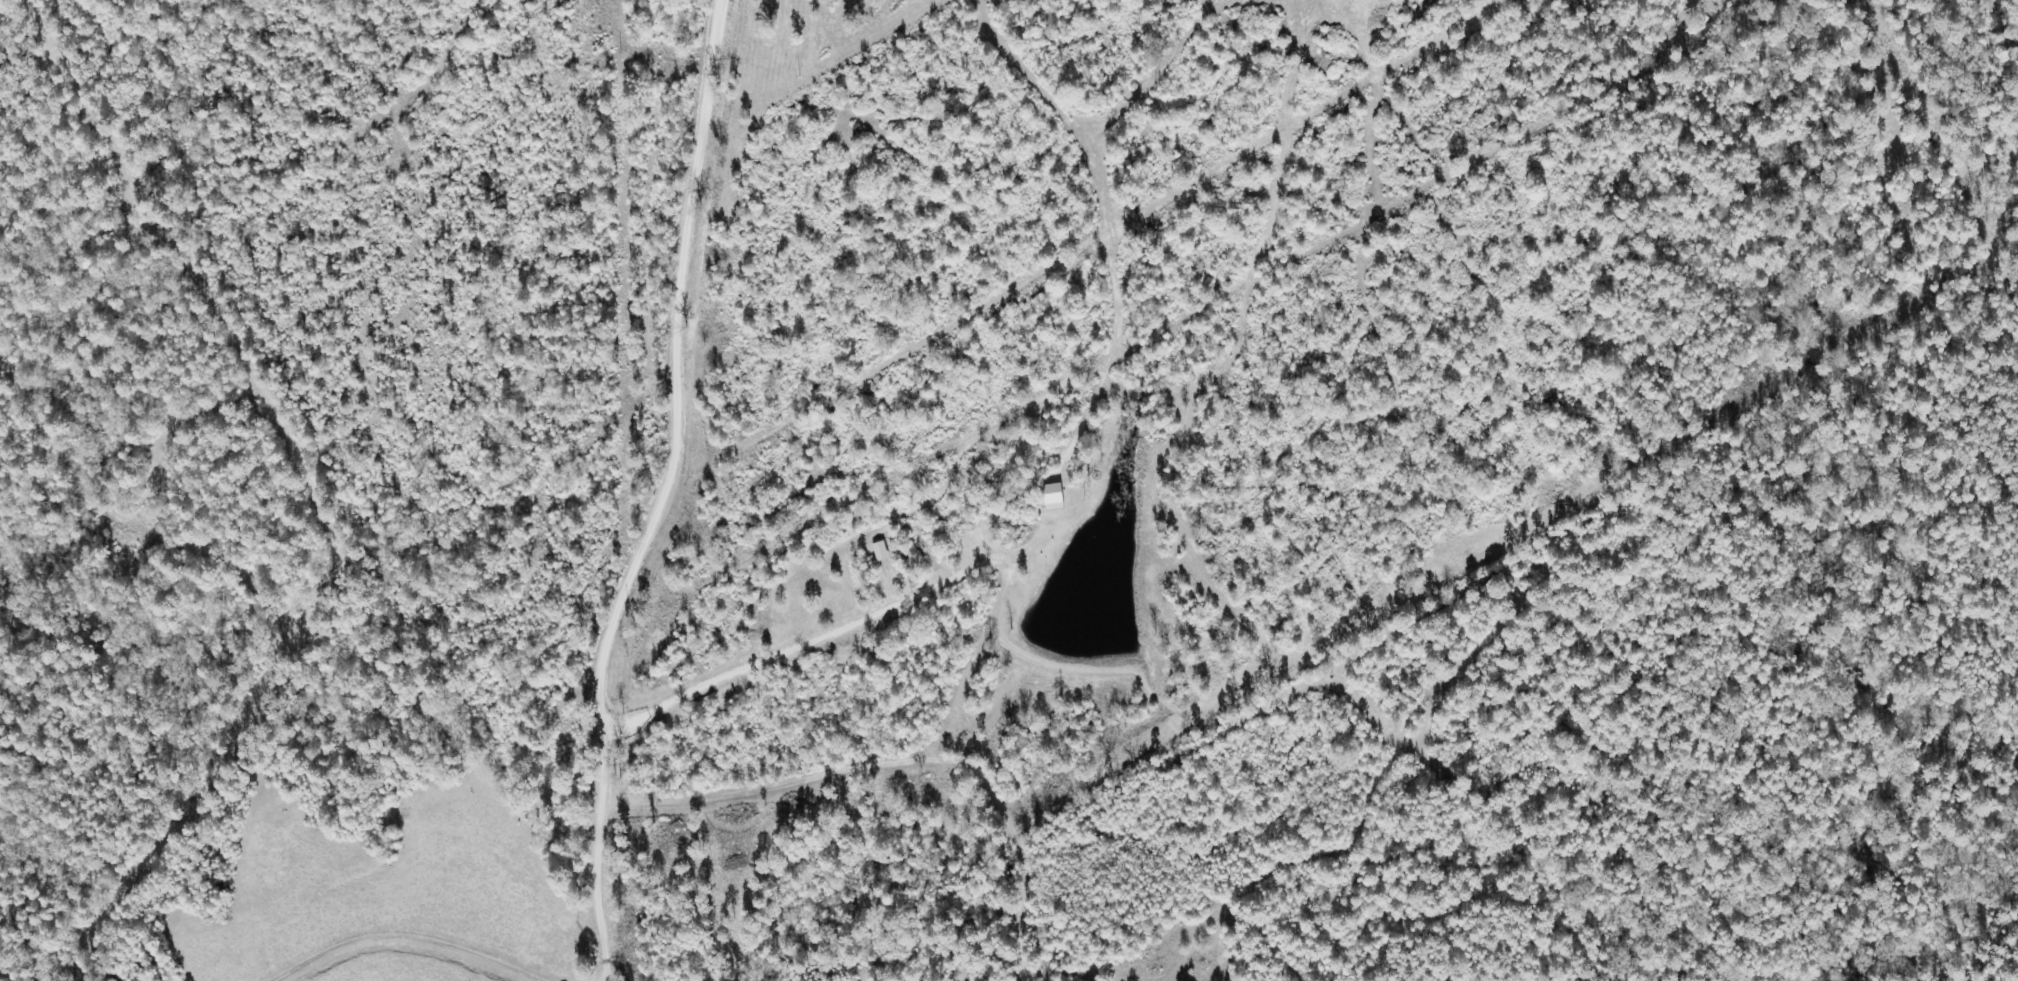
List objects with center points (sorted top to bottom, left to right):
road: (701, 89)
road: (628, 493)
building: (1054, 496)
building: (881, 551)
road: (377, 776)
road: (591, 894)

